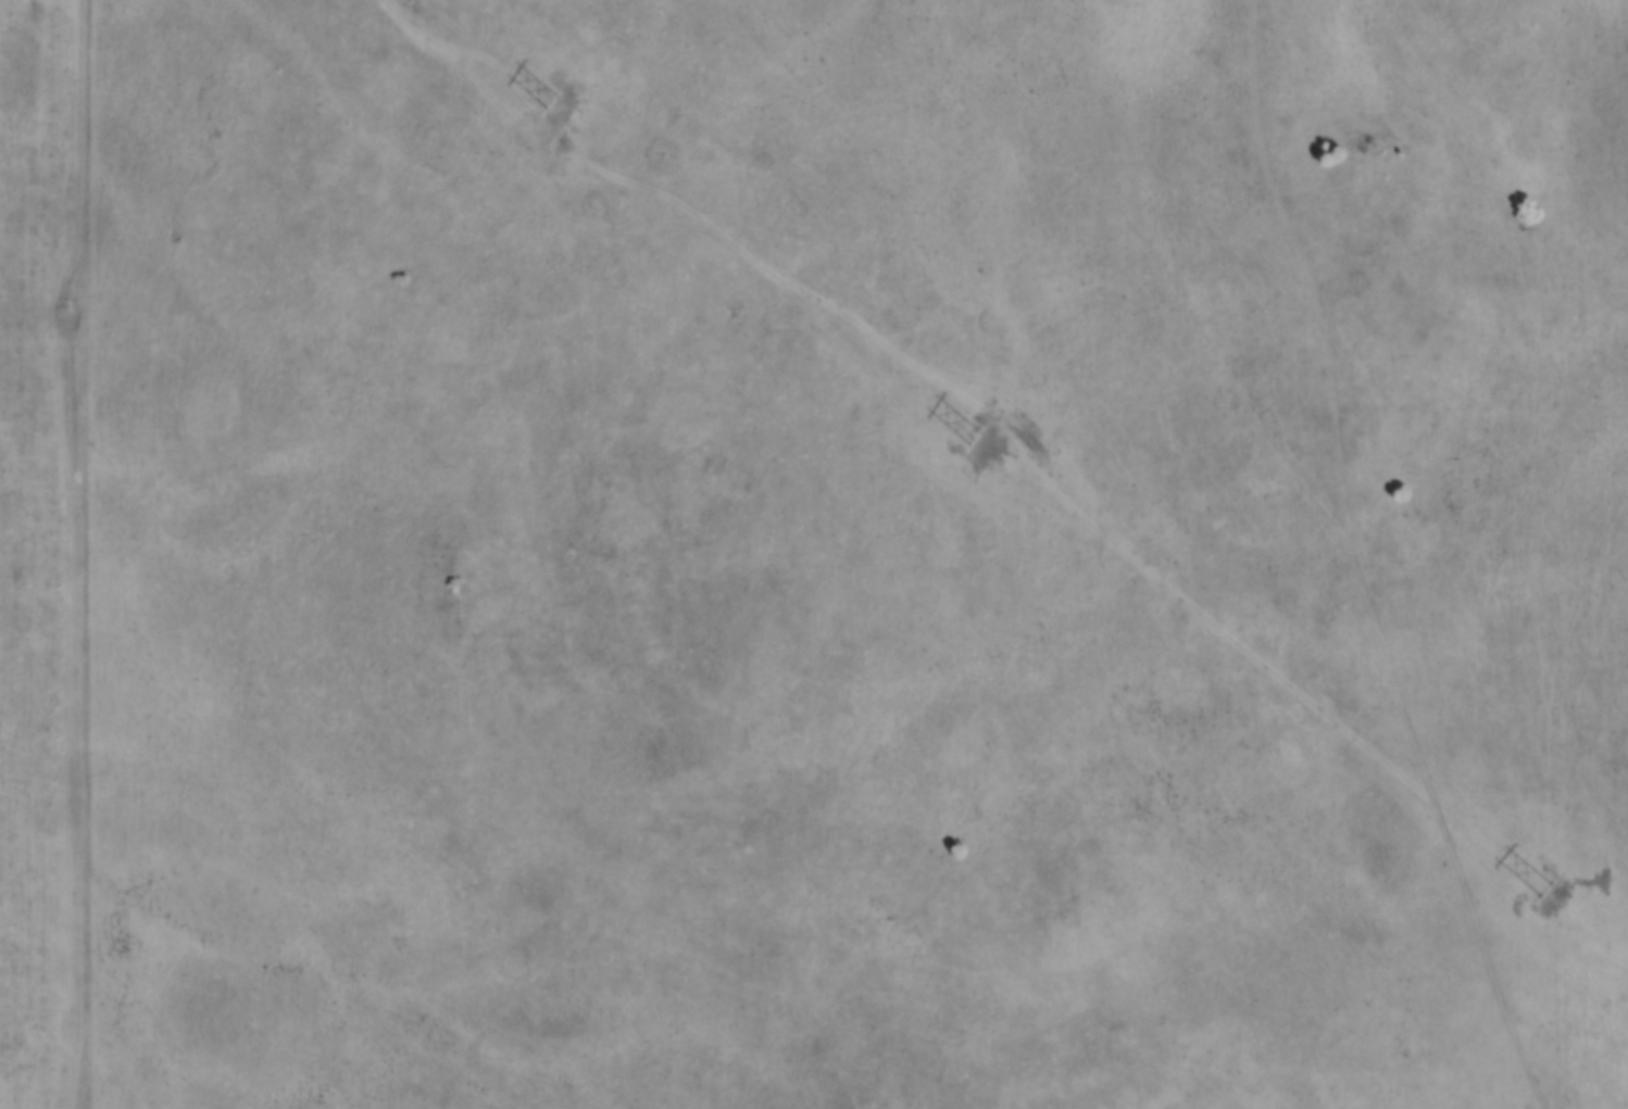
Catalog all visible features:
power tower: (564, 106)
power tower: (993, 442)
power tower: (1560, 895)

